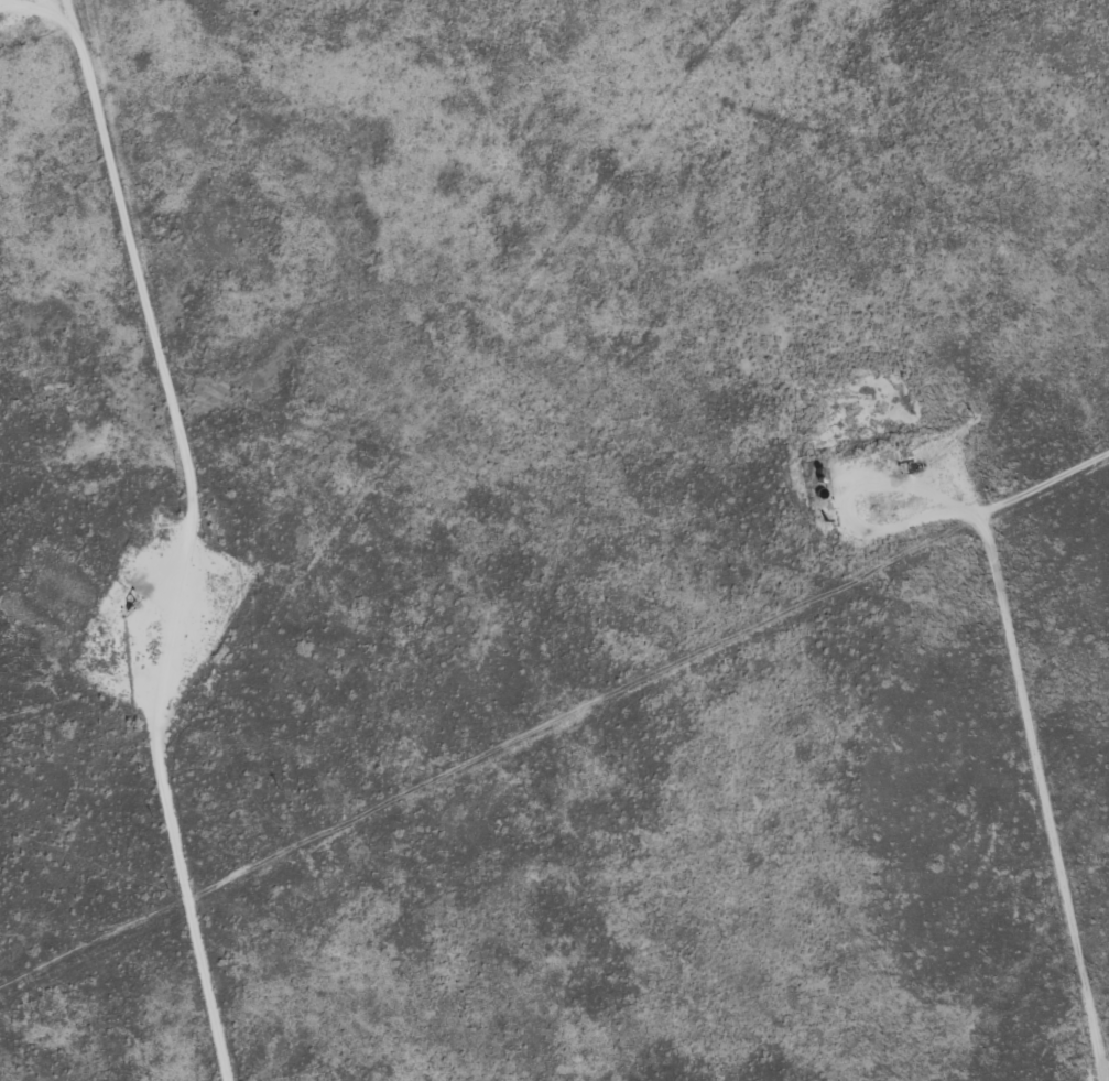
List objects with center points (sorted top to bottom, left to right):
road: (132, 443)

